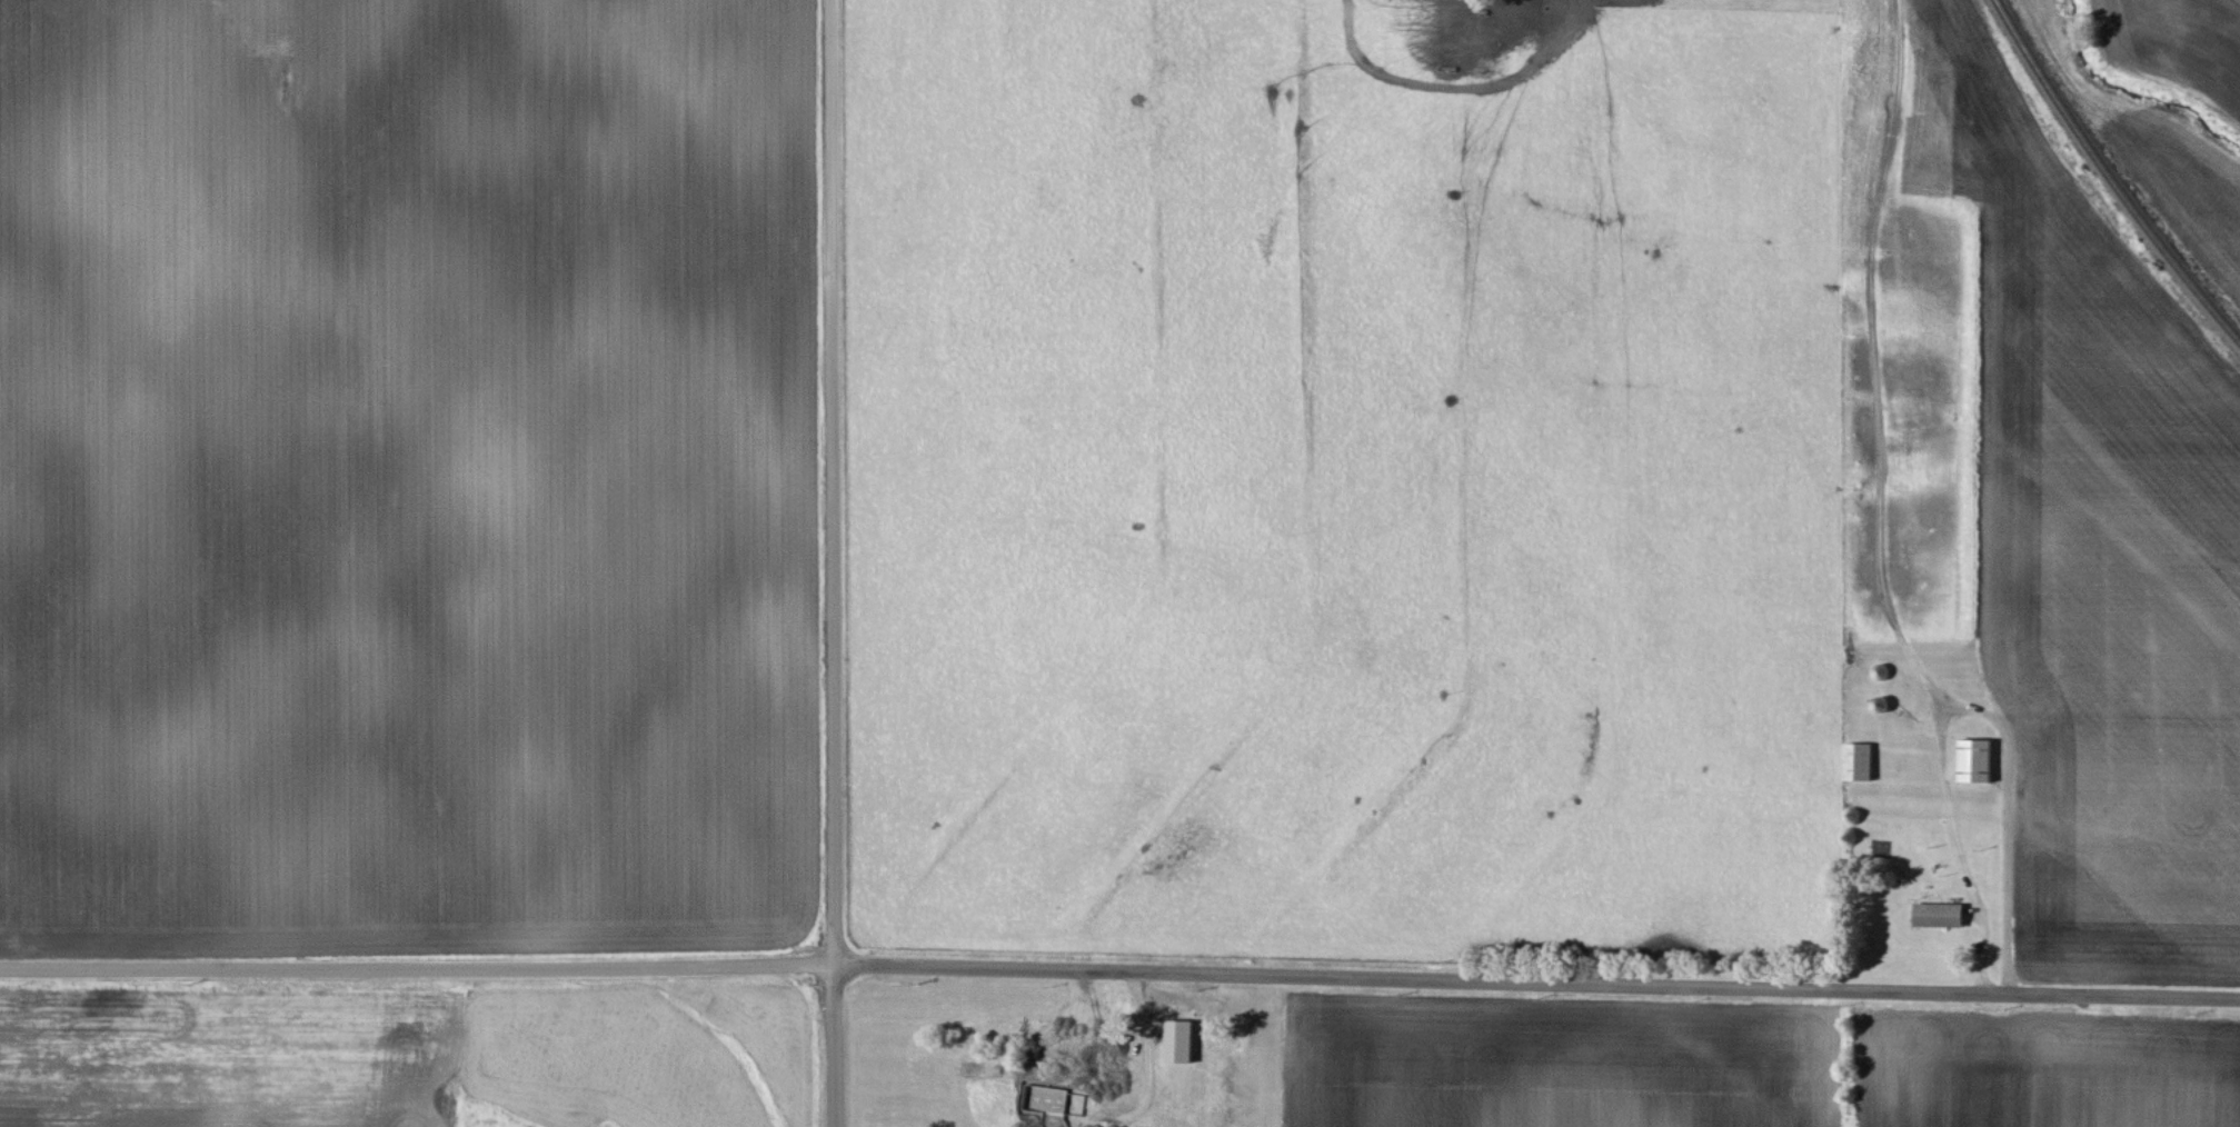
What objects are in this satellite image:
railway: (2109, 177)
road: (833, 563)
building: (1975, 761)
building: (1859, 764)
building: (1939, 917)
road: (404, 969)
road: (1524, 984)

